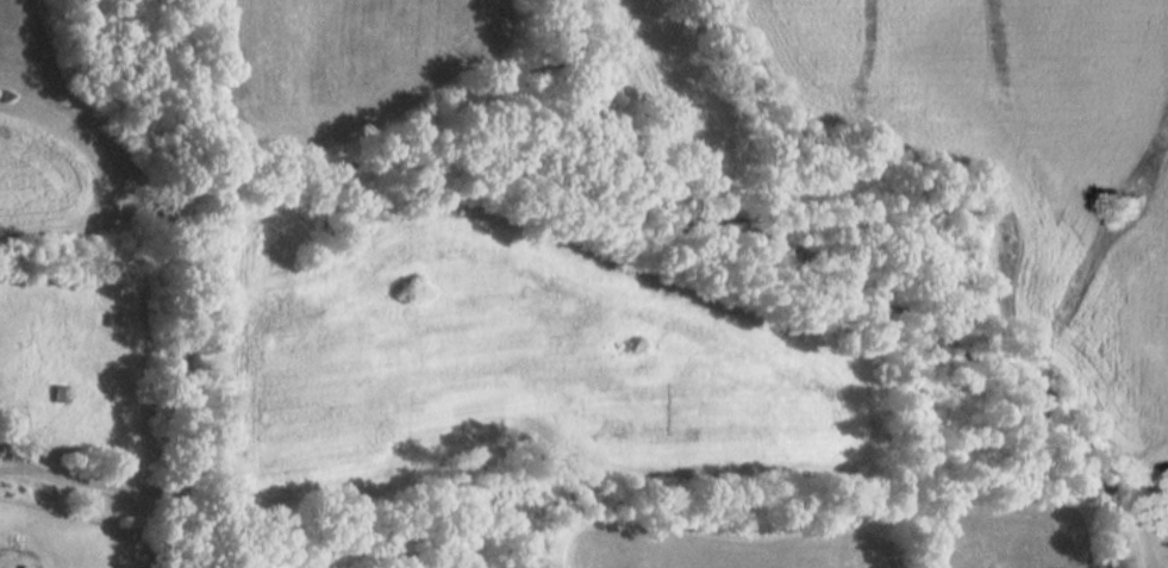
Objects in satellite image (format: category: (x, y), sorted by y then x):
road: (106, 131)
road: (189, 397)
road: (12, 457)
road: (12, 470)
road: (108, 487)
building: (25, 566)

